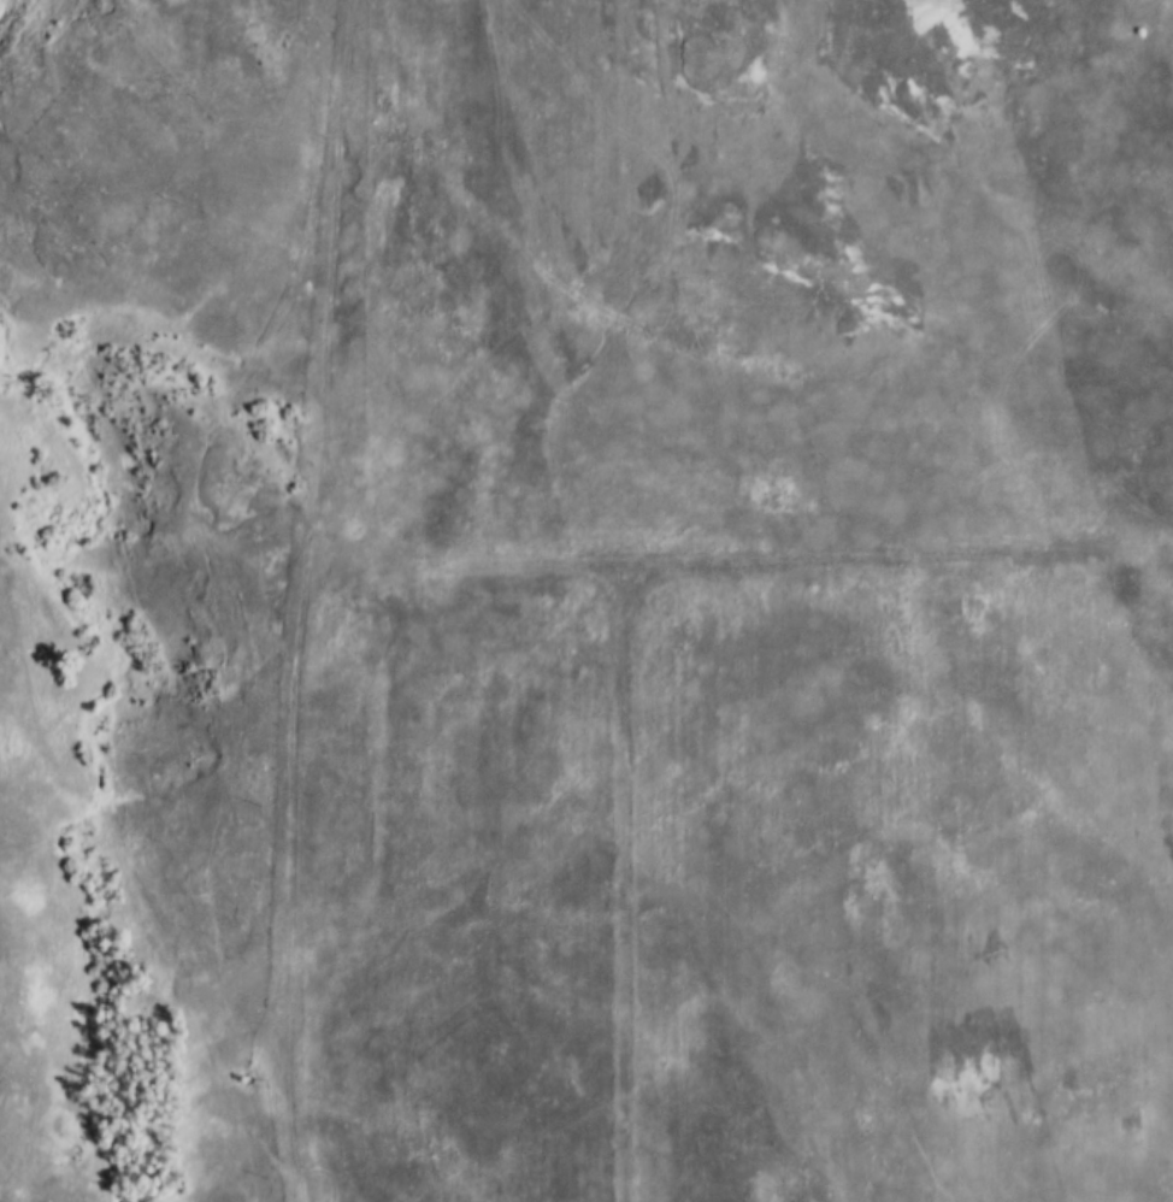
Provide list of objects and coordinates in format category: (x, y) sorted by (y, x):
road: (302, 600)

